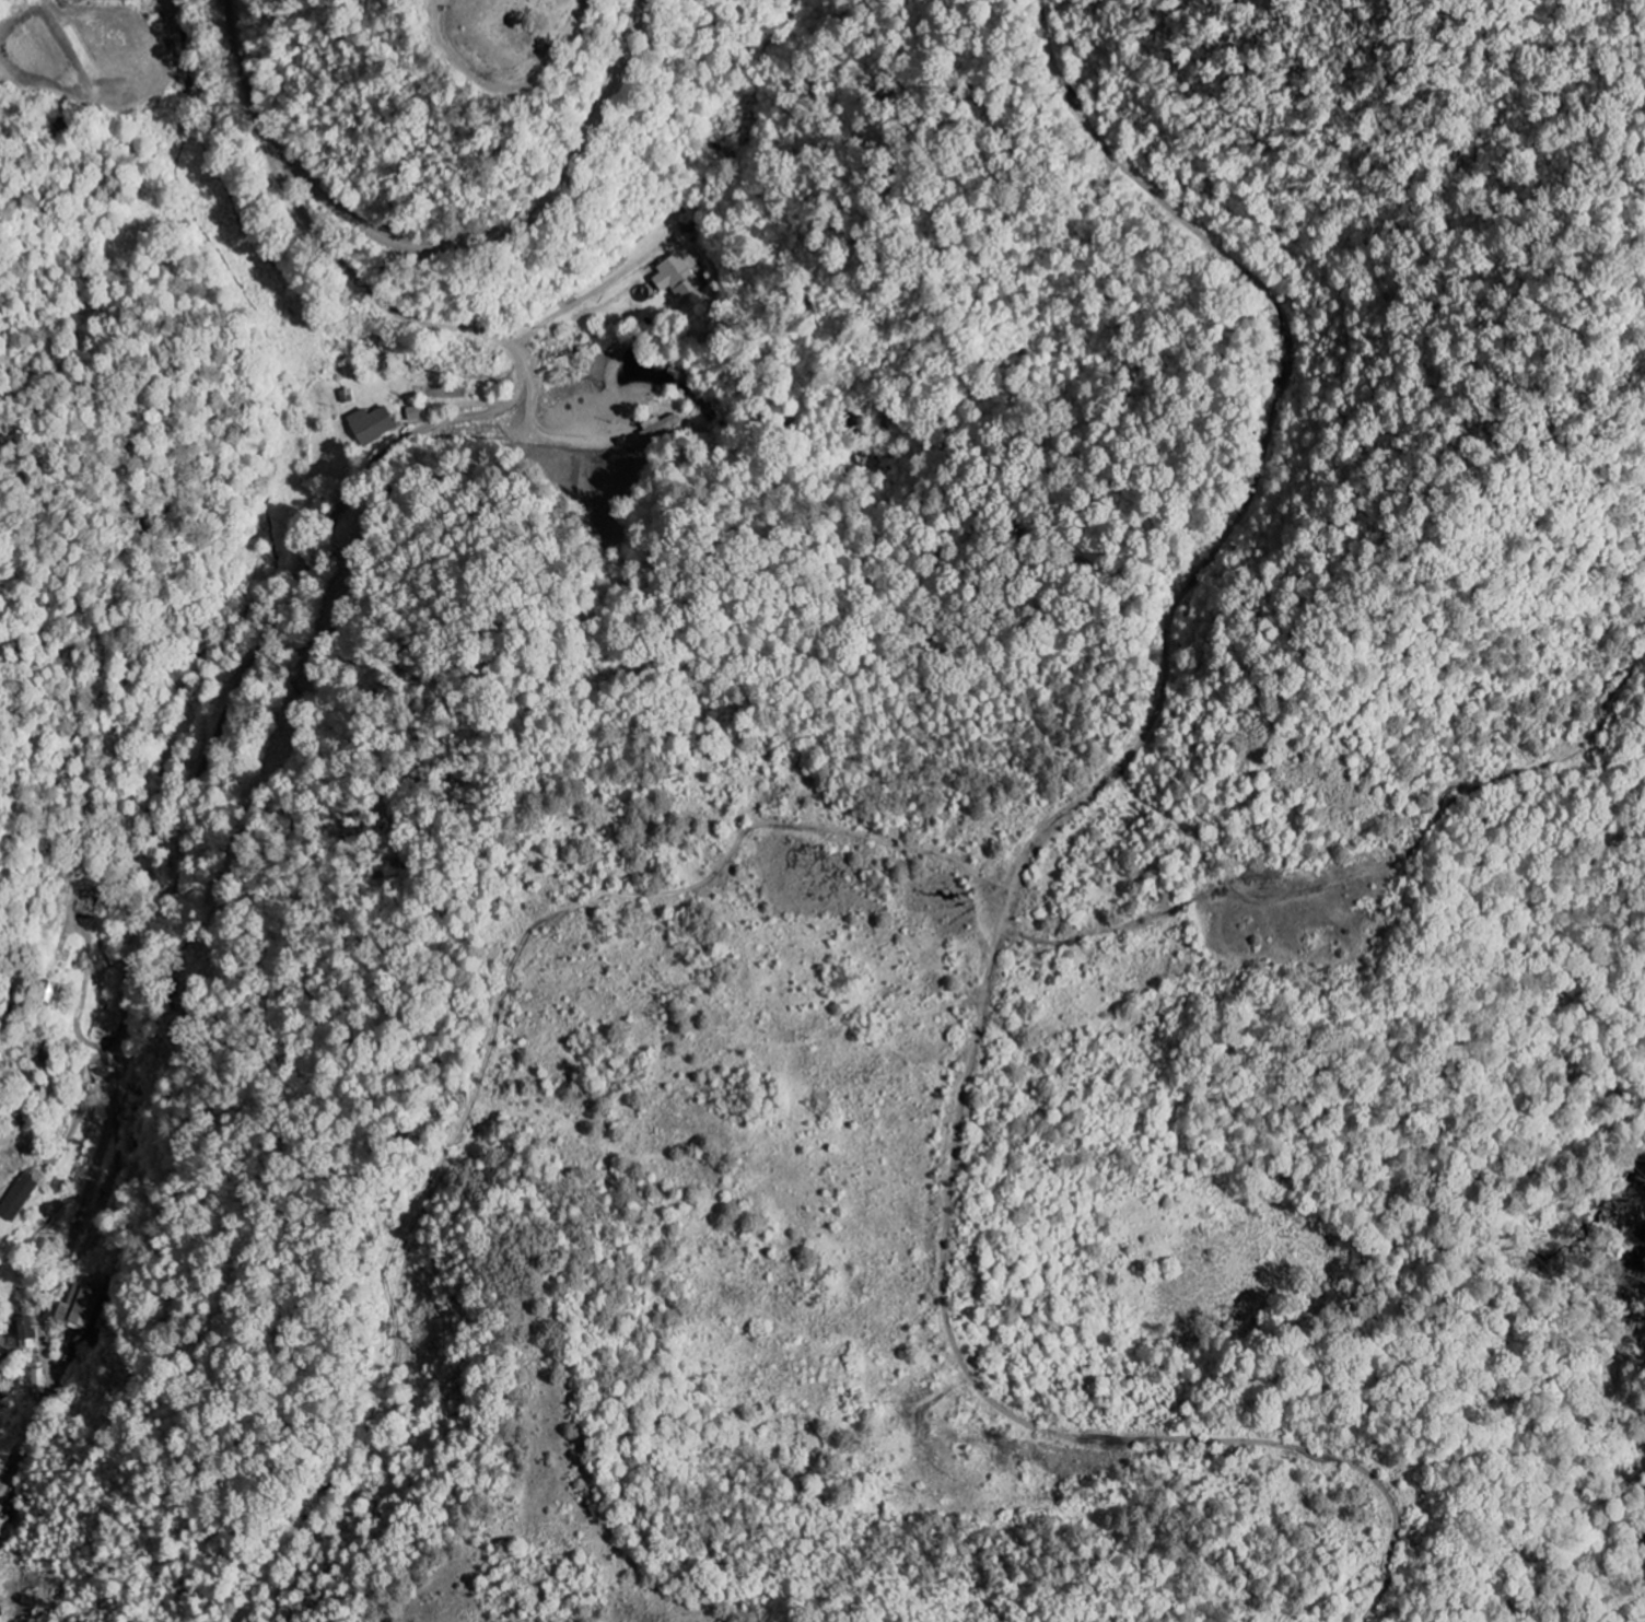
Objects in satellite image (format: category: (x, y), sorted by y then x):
road: (514, 223)
building: (677, 278)
building: (417, 413)
building: (372, 425)
road: (264, 645)
building: (89, 900)
building: (19, 1197)
building: (80, 1308)
building: (26, 1328)
building: (39, 1381)

